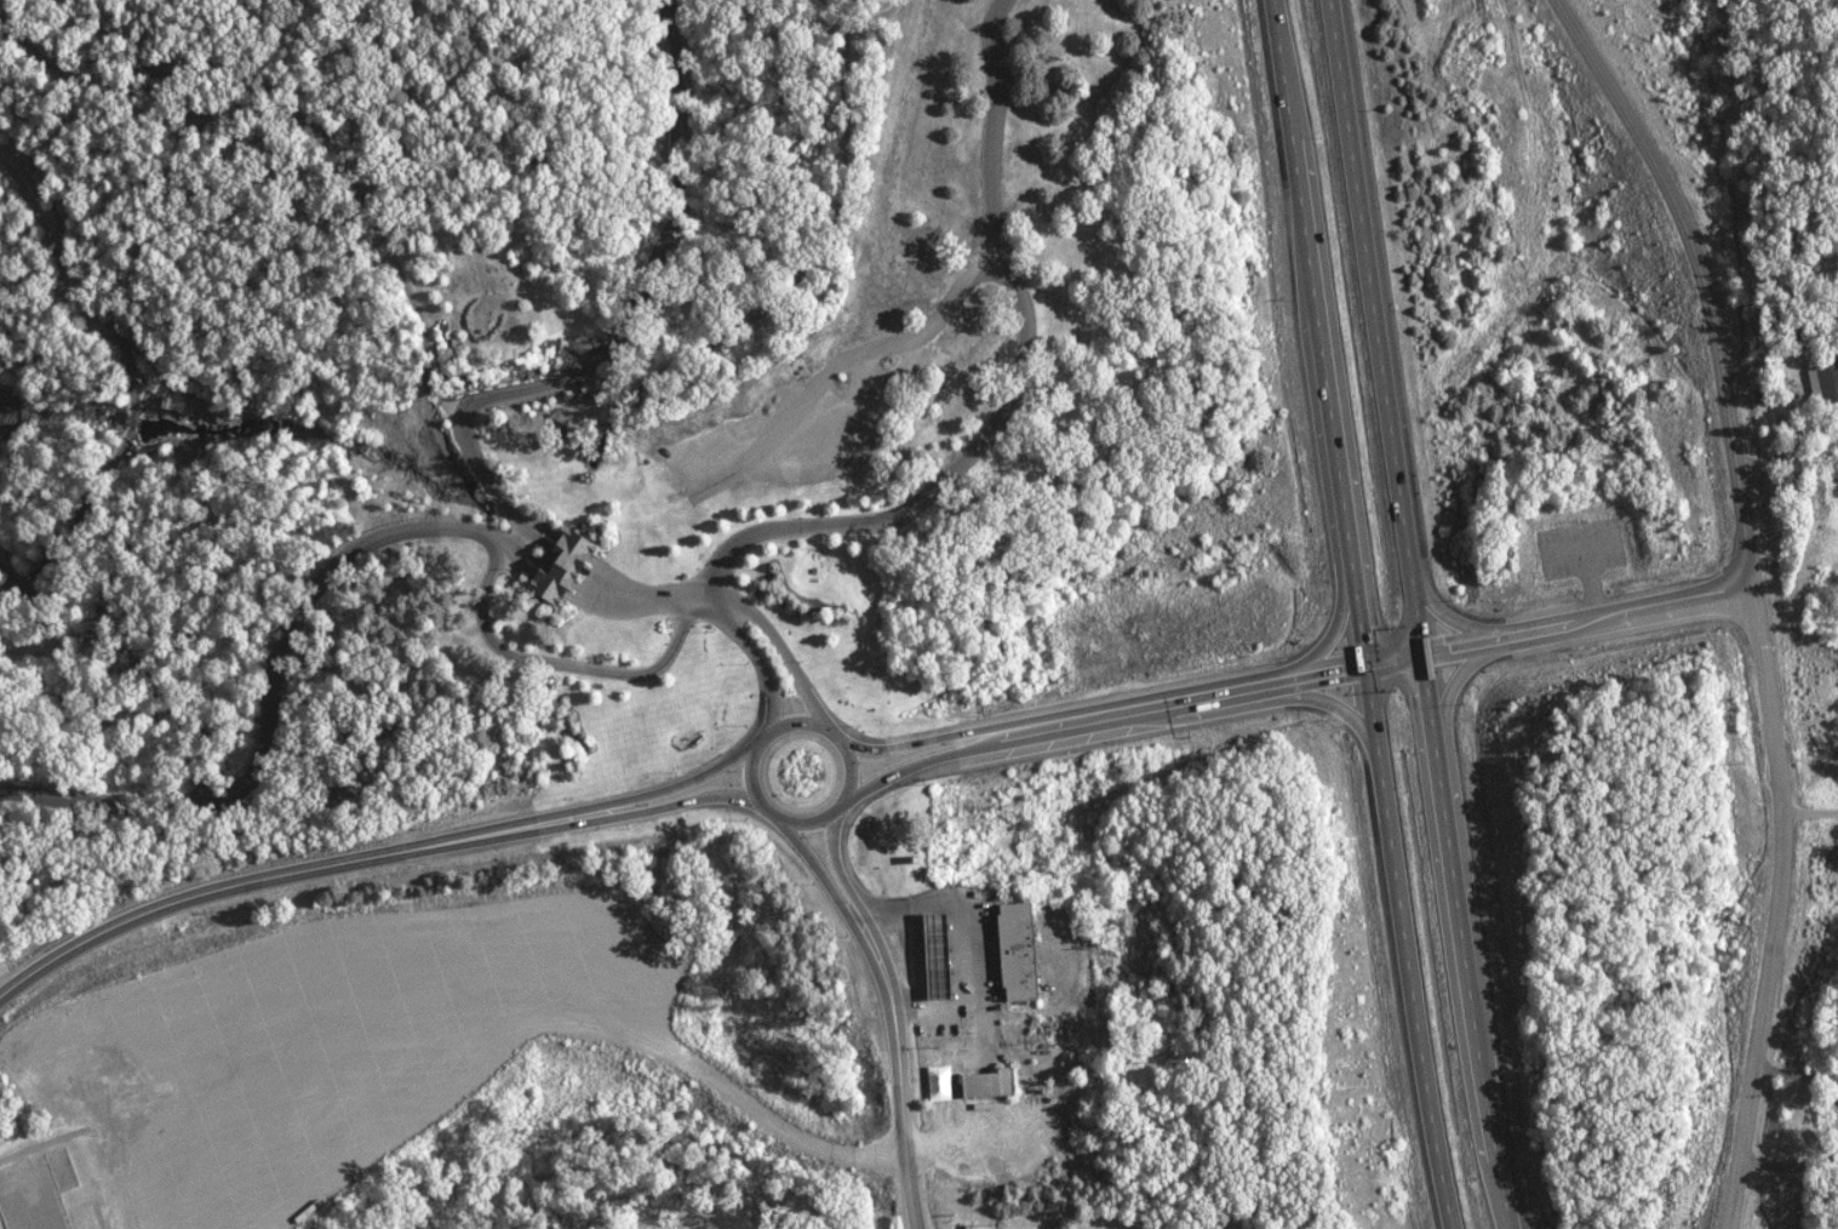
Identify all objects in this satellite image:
road: (334, 143)
road: (811, 268)
road: (1700, 269)
road: (58, 284)
road: (623, 330)
road: (843, 361)
building: (1825, 384)
road: (1006, 394)
road: (130, 413)
building: (1802, 467)
road: (528, 521)
road: (73, 522)
road: (571, 545)
road: (566, 558)
building: (567, 565)
road: (562, 572)
road: (617, 582)
road: (557, 585)
road: (642, 599)
road: (704, 602)
road: (1438, 610)
road: (1356, 614)
road: (1410, 614)
road: (1588, 621)
road: (1324, 636)
road: (779, 651)
traffic signals: (1416, 657)
road: (752, 663)
traffic signals: (1363, 669)
road: (1450, 691)
road: (1215, 693)
road: (263, 703)
road: (1334, 707)
road: (803, 722)
road: (924, 736)
road: (922, 759)
road: (678, 783)
road: (682, 801)
road: (1775, 810)
road: (832, 858)
road: (809, 859)
road: (290, 874)
building: (1026, 951)
building: (941, 958)
road: (897, 1061)
building: (994, 1084)
road: (1735, 1137)

